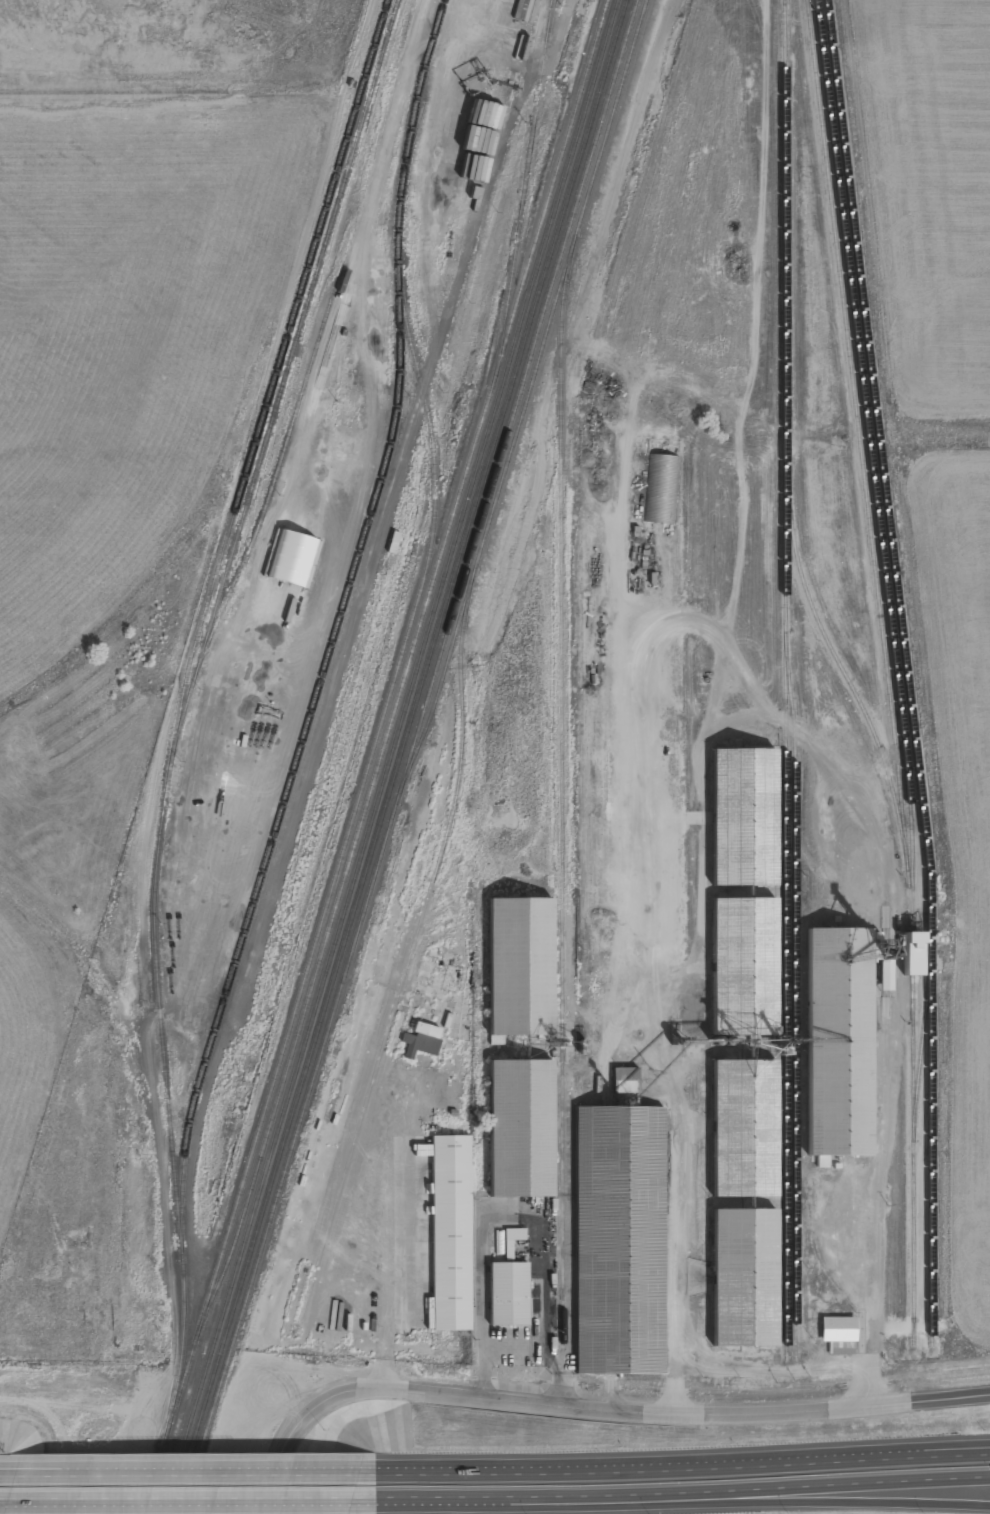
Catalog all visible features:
railway: (551, 23)
railway: (526, 183)
railway: (287, 372)
railway: (526, 399)
railway: (857, 429)
railway: (869, 449)
building: (662, 489)
railway: (270, 493)
railway: (785, 525)
building: (296, 580)
railway: (339, 620)
railway: (406, 670)
railway: (905, 671)
railway: (181, 707)
railway: (389, 756)
railway: (397, 756)
railway: (409, 756)
railway: (562, 788)
building: (744, 818)
railway: (907, 870)
building: (201, 875)
railway: (327, 898)
building: (914, 954)
railway: (409, 959)
building: (520, 968)
building: (744, 968)
building: (422, 1040)
railway: (922, 1041)
building: (625, 1080)
building: (521, 1129)
building: (822, 1162)
building: (447, 1230)
building: (513, 1237)
building: (744, 1278)
building: (509, 1294)
building: (605, 1325)
building: (839, 1335)
road: (587, 1406)
road: (63, 1435)
road: (680, 1470)
road: (185, 1472)
road: (681, 1495)
road: (805, 1501)
railway: (148, 1502)
road: (186, 1503)

